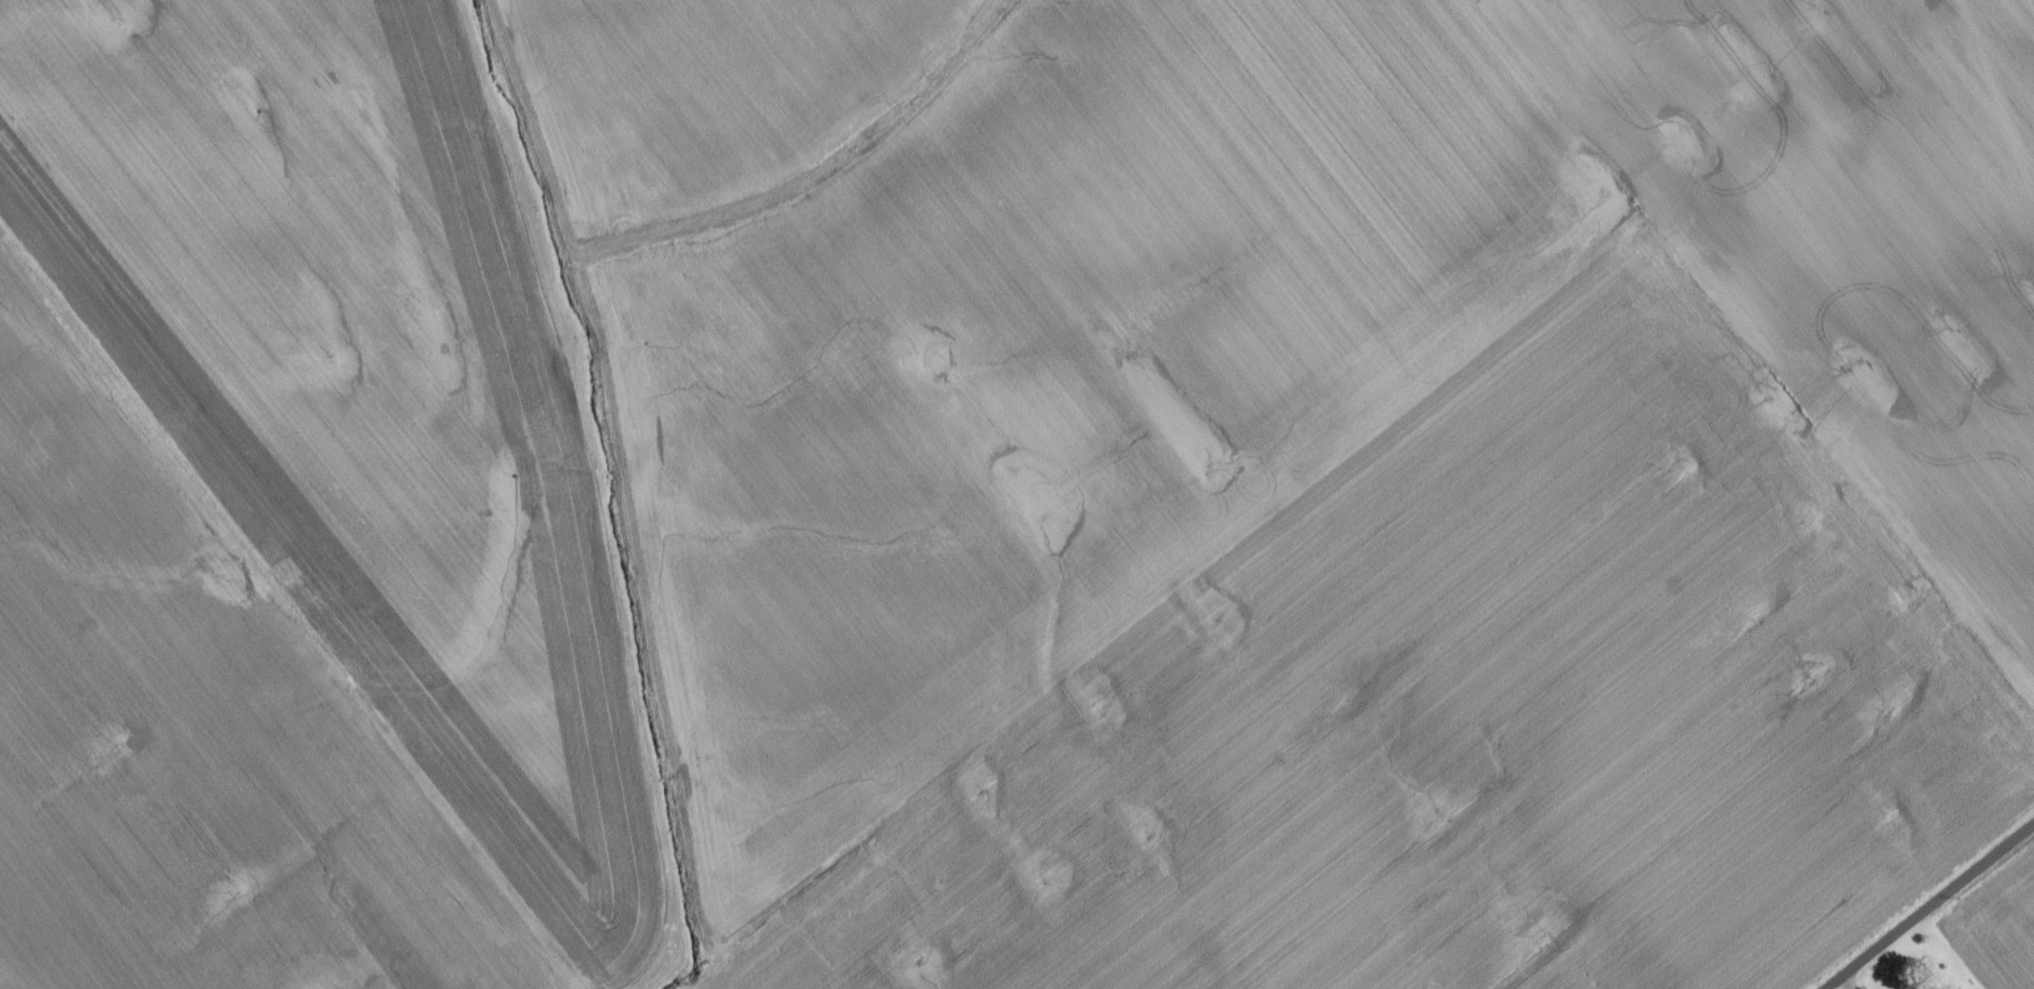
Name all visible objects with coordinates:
road: (1932, 908)

